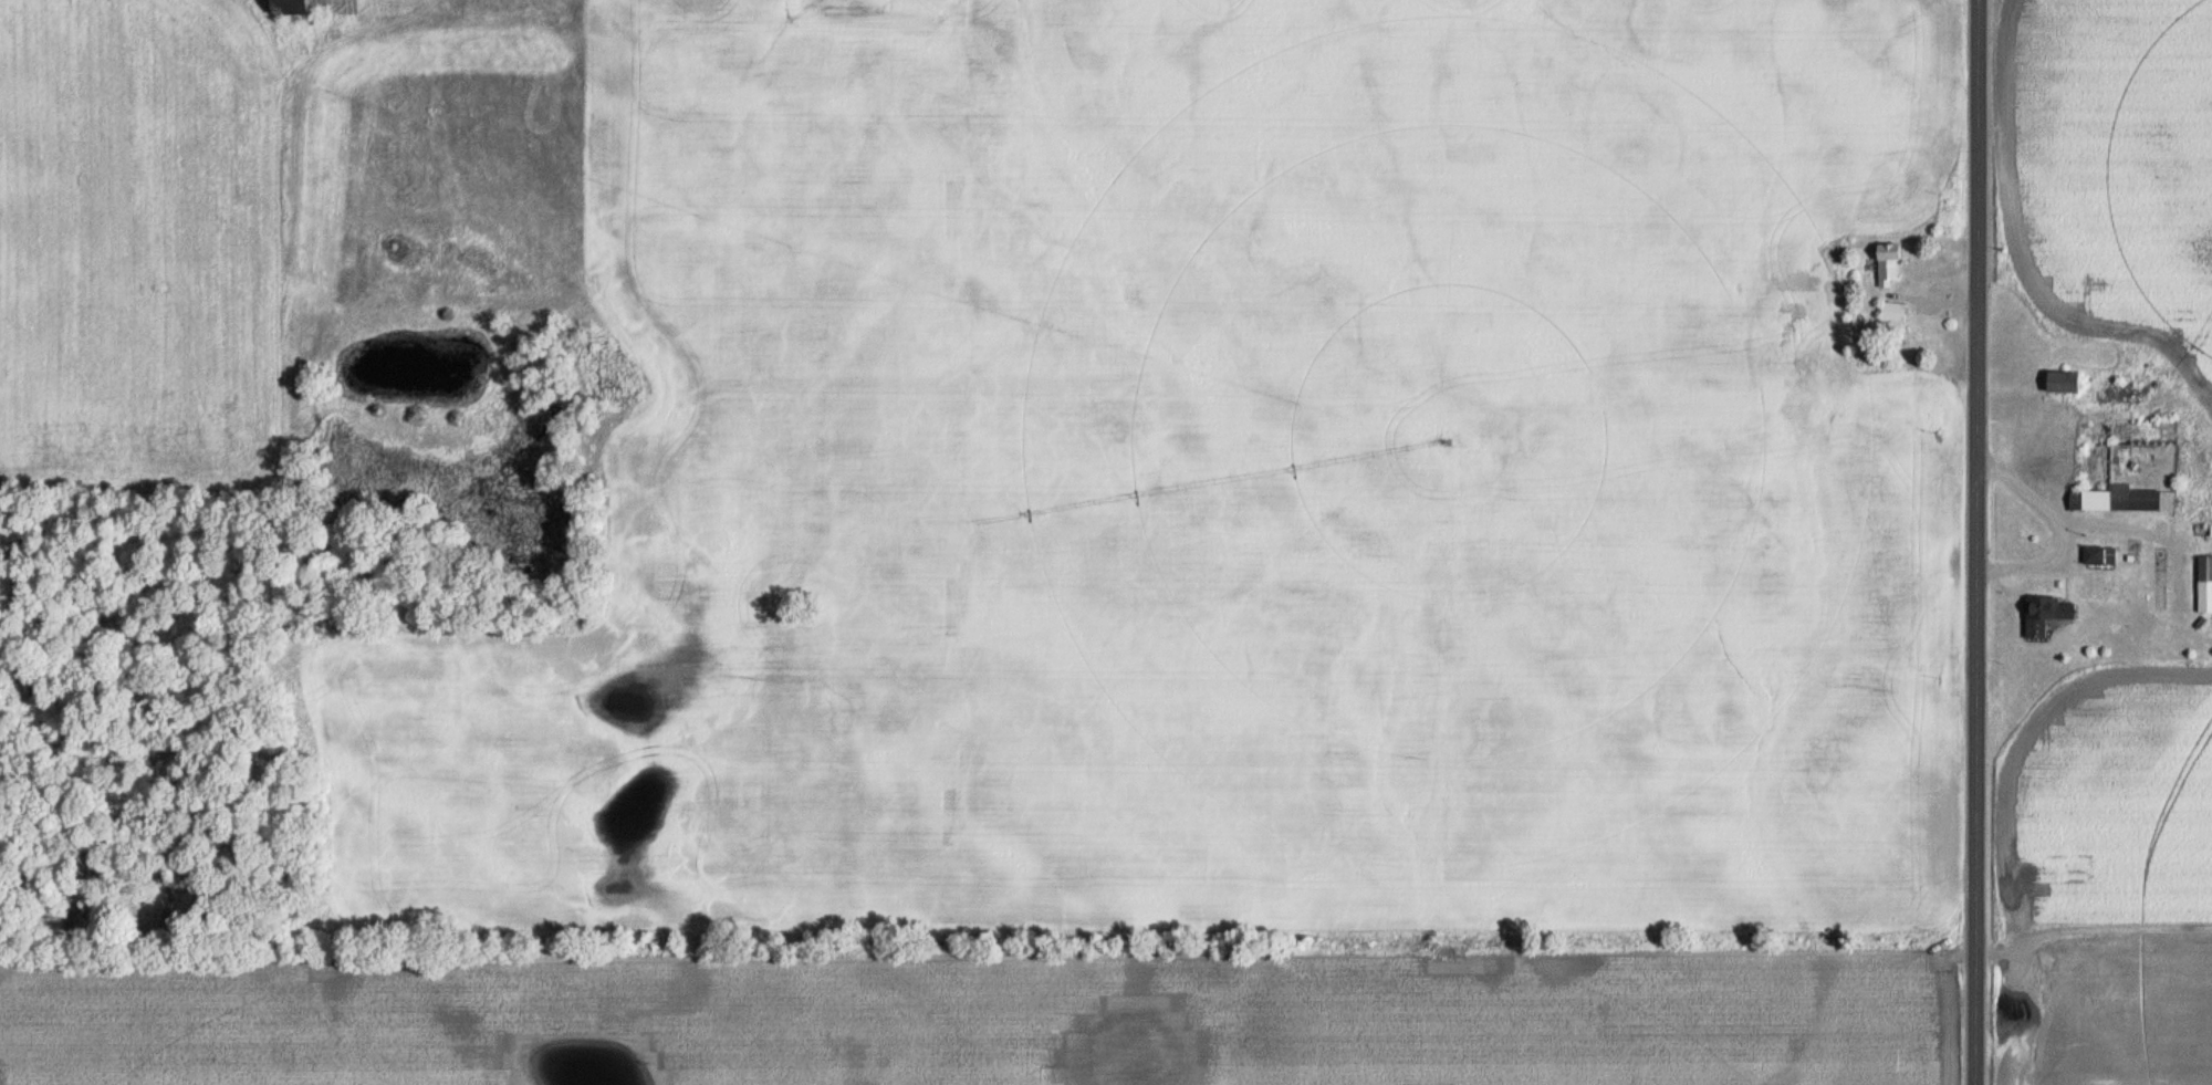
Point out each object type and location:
building: (292, 7)
building: (1885, 264)
building: (2059, 382)
building: (2114, 499)
road: (2056, 528)
road: (1974, 542)
building: (2097, 554)
building: (2203, 577)
building: (2043, 614)

